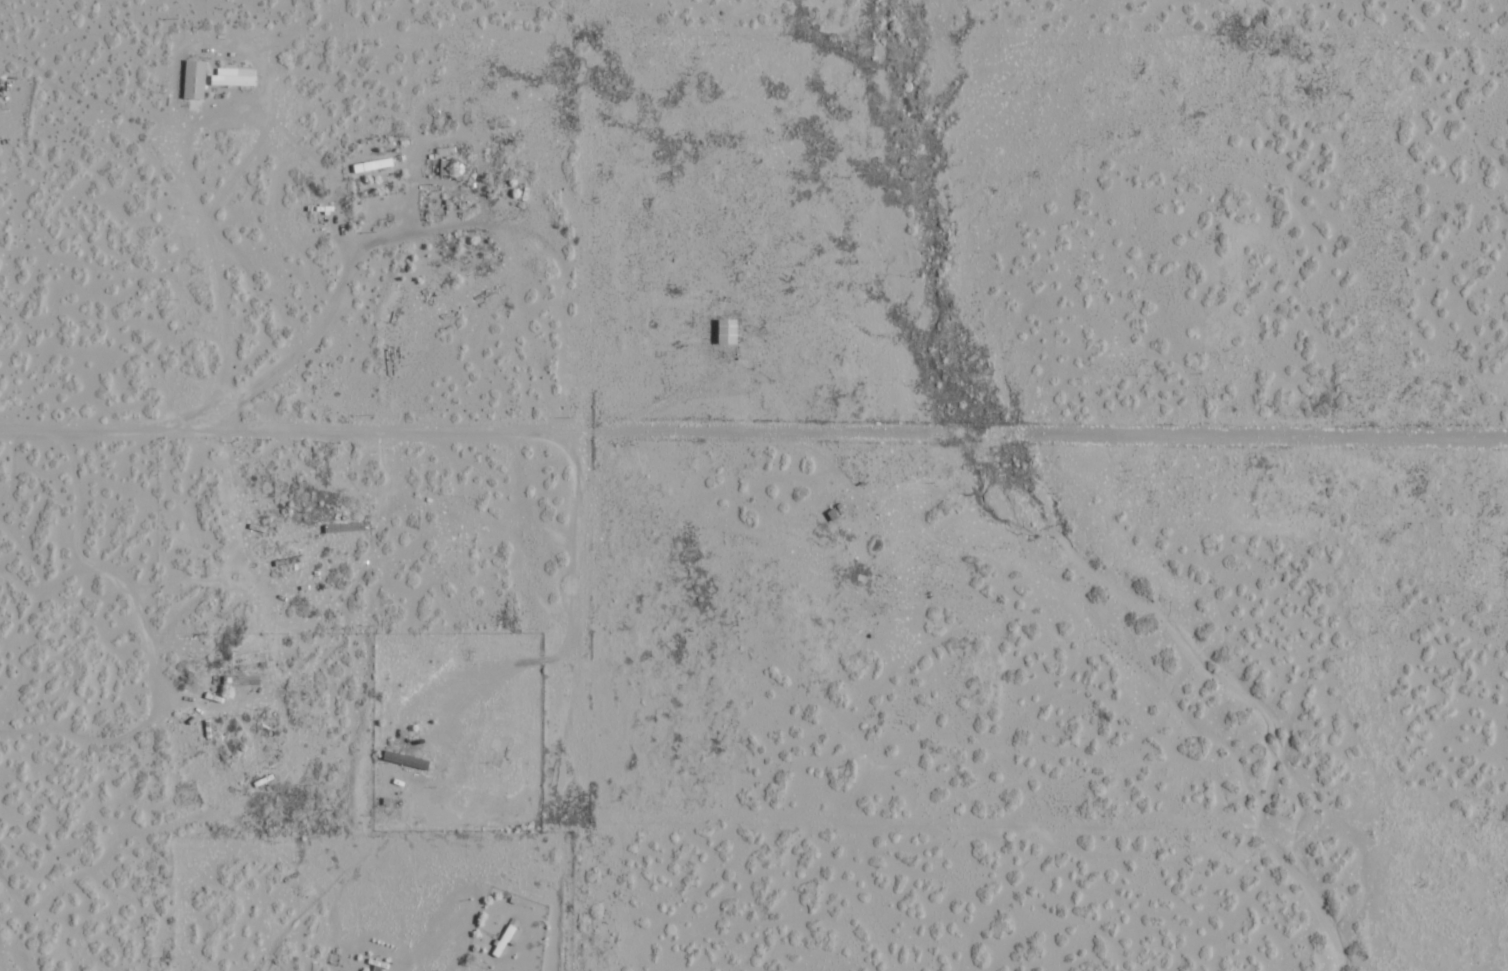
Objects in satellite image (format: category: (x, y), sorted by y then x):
building: (196, 79)
road: (884, 166)
building: (729, 332)
road: (296, 470)
road: (155, 687)
road: (316, 772)
building: (512, 933)
road: (435, 939)

